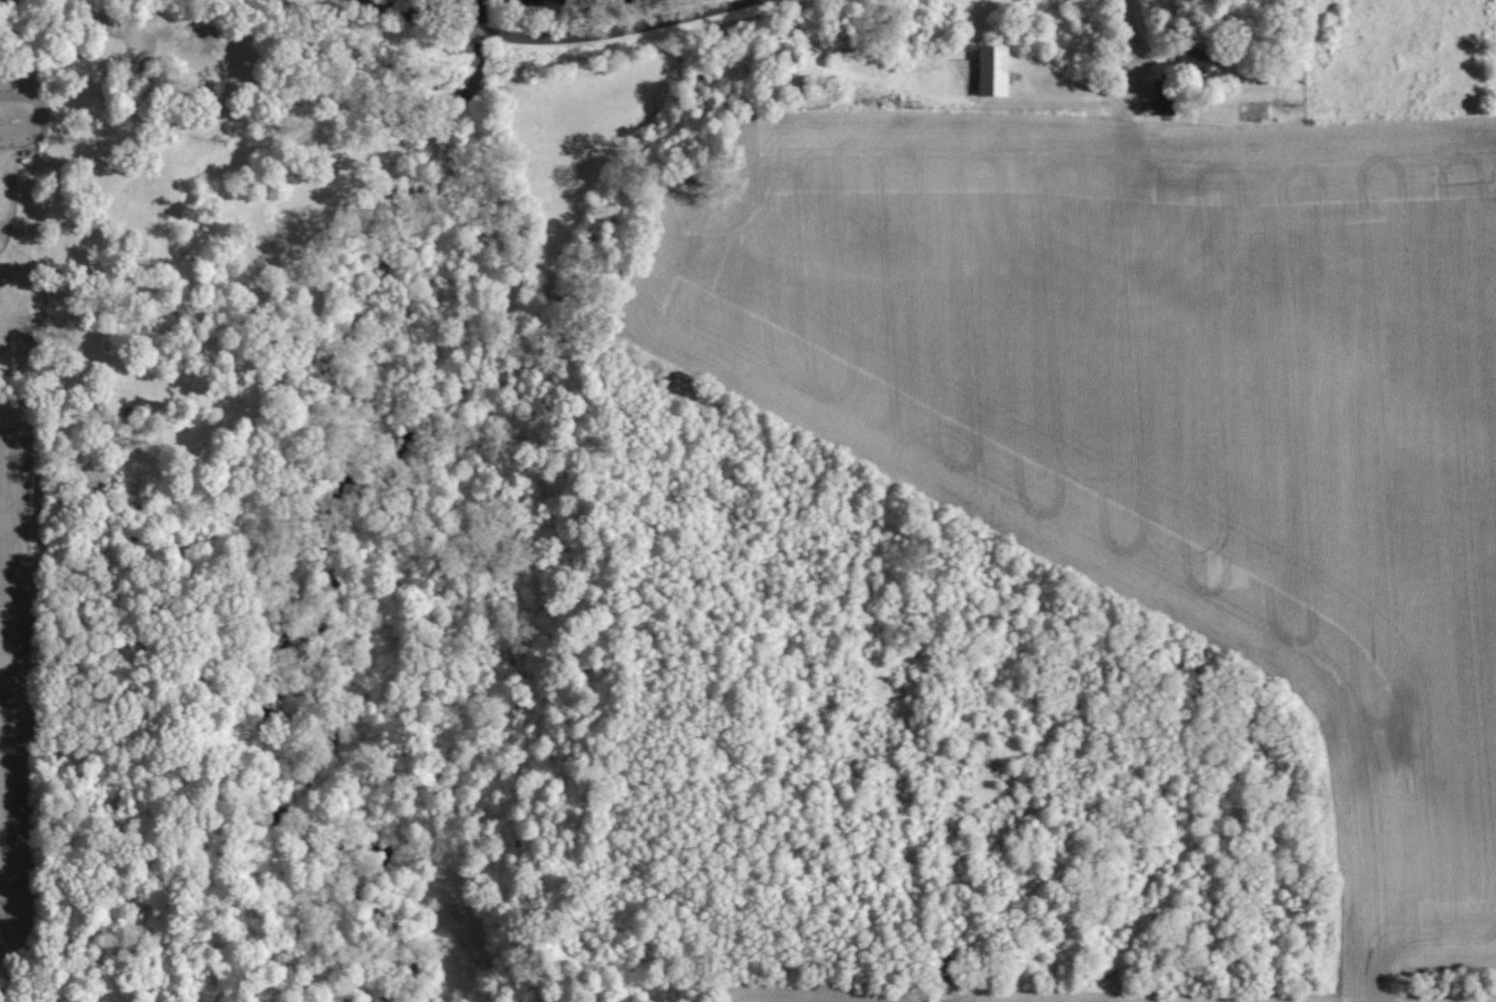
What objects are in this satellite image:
road: (1129, 37)
road: (556, 38)
building: (1204, 60)
building: (995, 69)
road: (123, 94)
building: (1165, 97)

